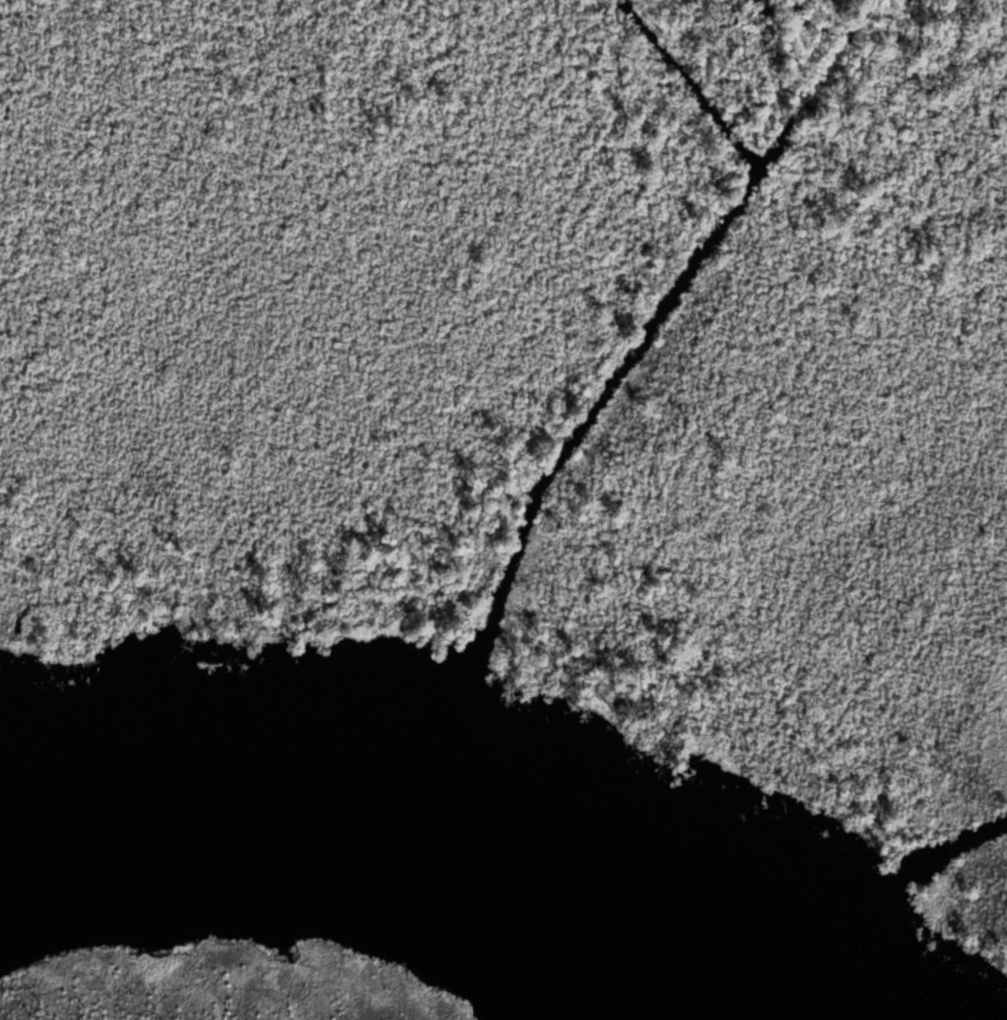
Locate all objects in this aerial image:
river: (383, 832)

